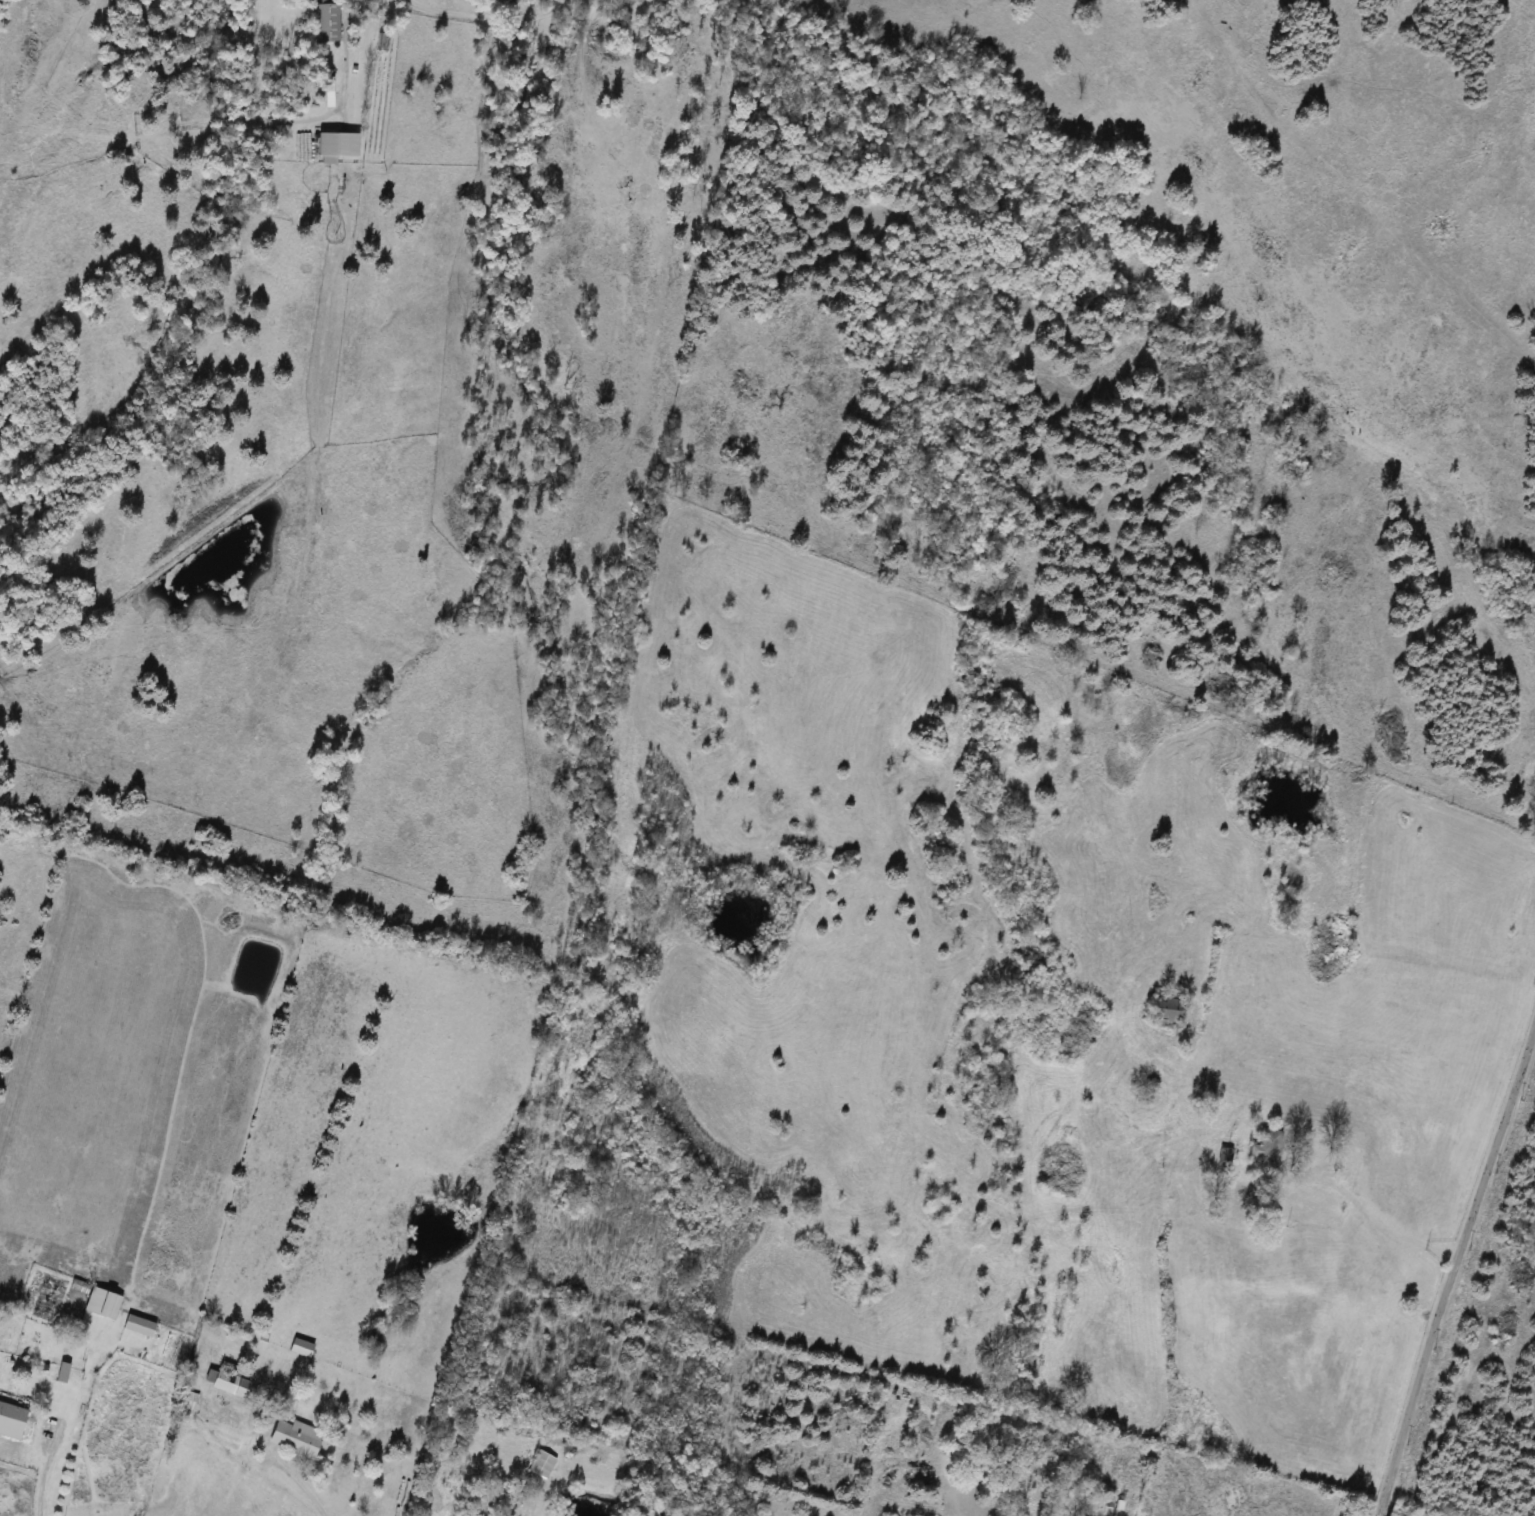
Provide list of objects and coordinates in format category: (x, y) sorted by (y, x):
road: (461, 6)
road: (488, 14)
building: (325, 20)
building: (326, 148)
building: (1264, 1148)
building: (1224, 1155)
road: (1458, 1264)
building: (77, 1285)
building: (101, 1302)
building: (138, 1325)
building: (300, 1347)
building: (227, 1379)
building: (11, 1419)
building: (294, 1438)
building: (541, 1463)
road: (43, 1477)
road: (307, 1489)

